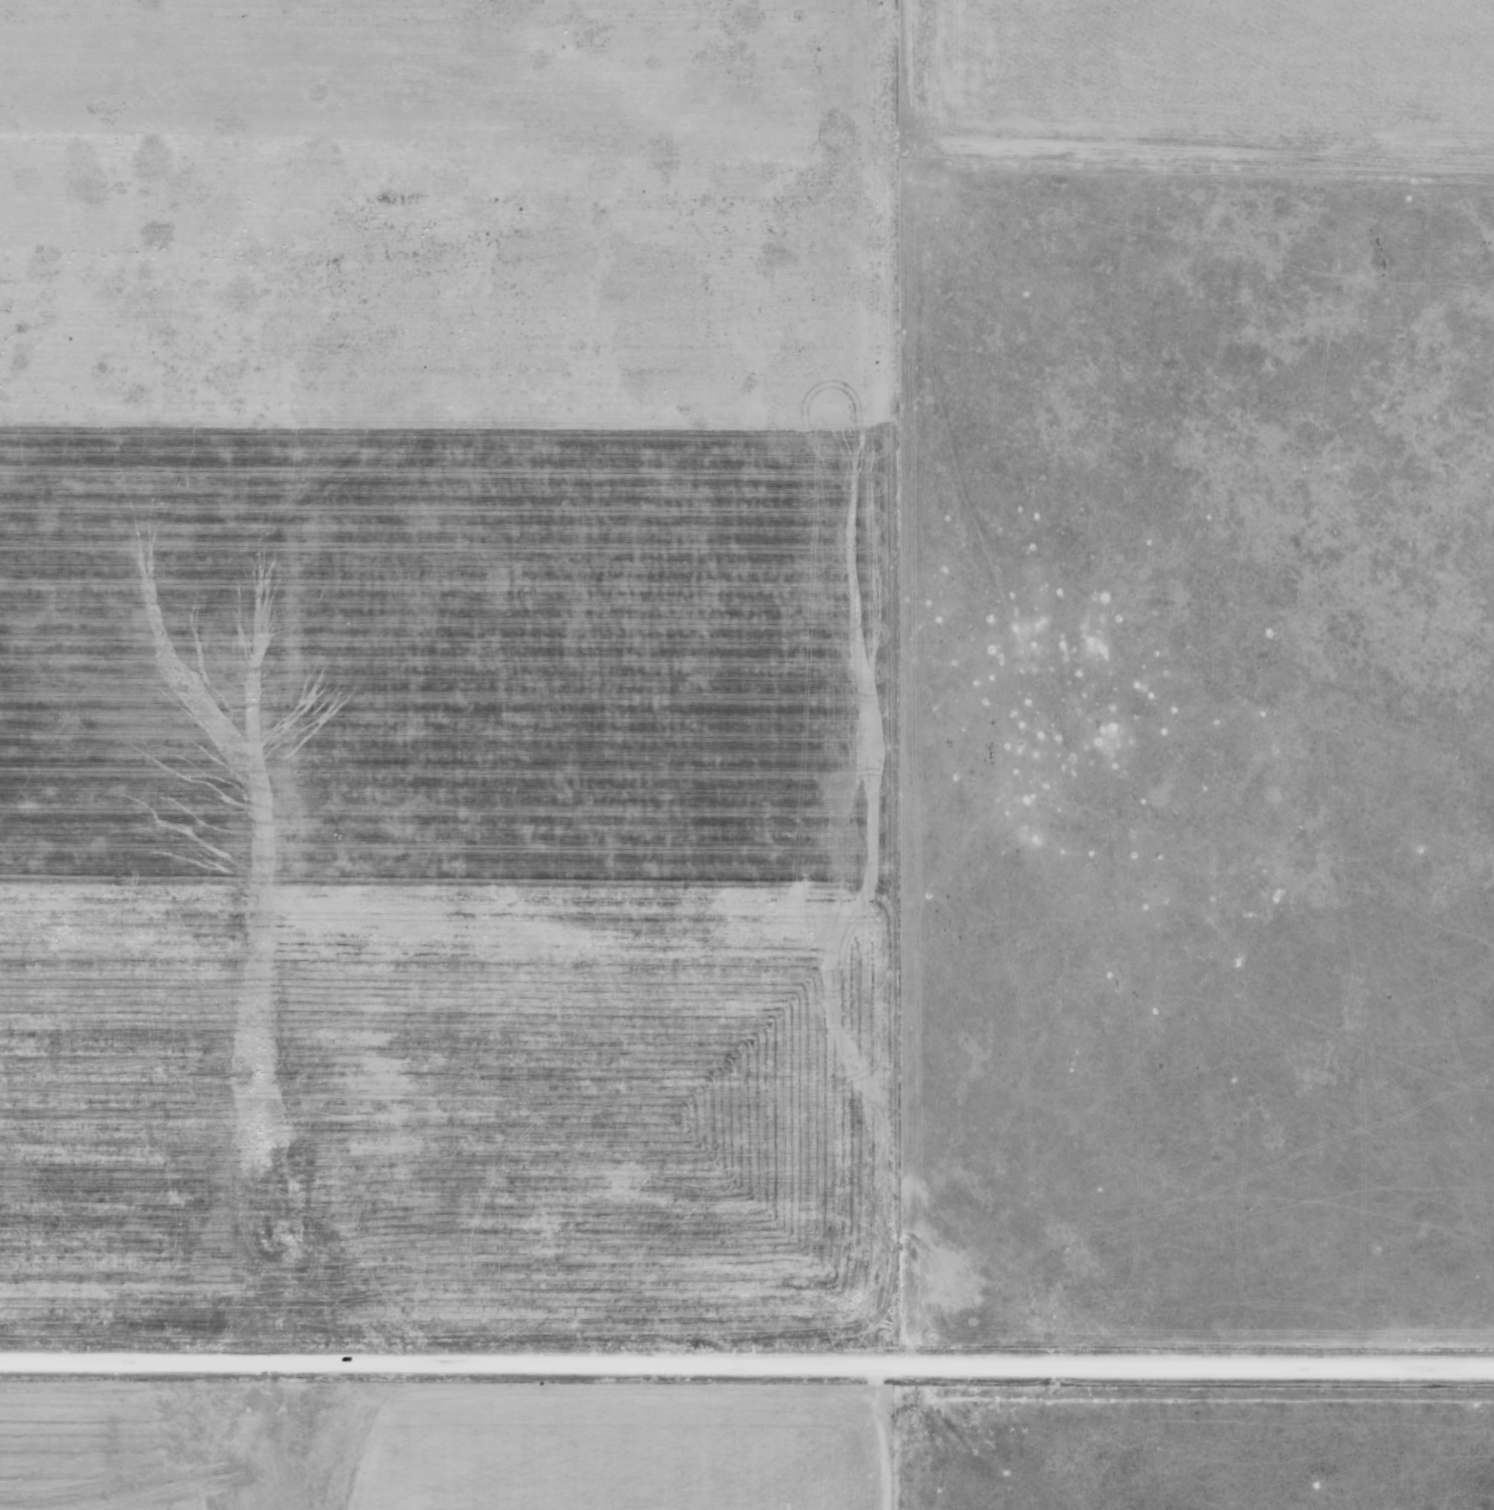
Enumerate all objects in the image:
road: (747, 1363)

